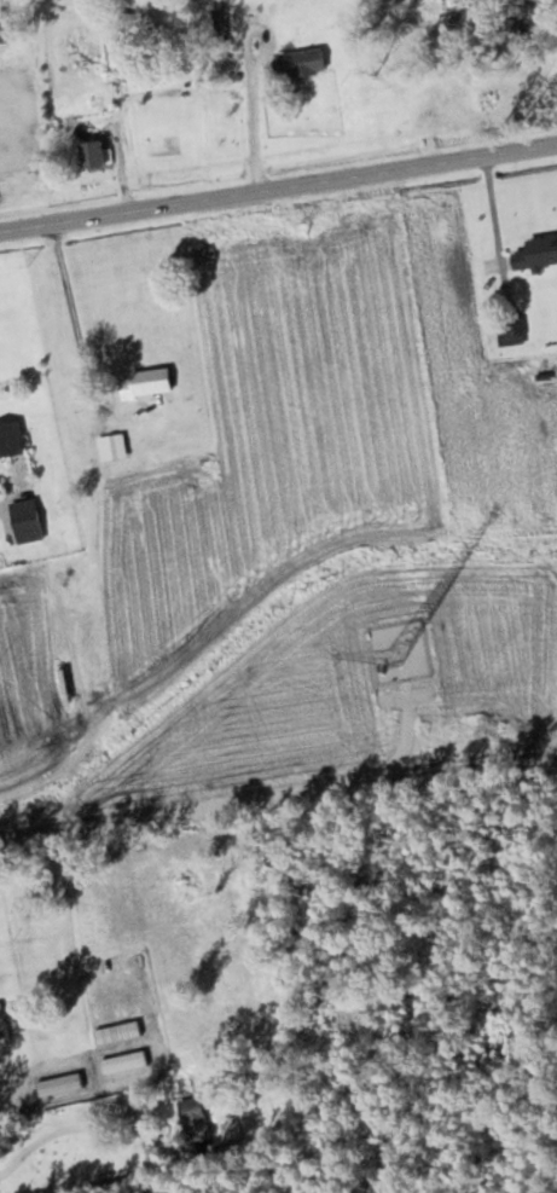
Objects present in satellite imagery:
building: (216, 19)
building: (303, 63)
building: (93, 154)
road: (278, 167)
building: (538, 253)
building: (511, 329)
building: (144, 382)
building: (11, 438)
building: (27, 520)
building: (83, 614)
building: (100, 676)
building: (2, 1021)
building: (117, 1031)
building: (124, 1061)
building: (59, 1083)
building: (195, 1118)
road: (0, 1191)

